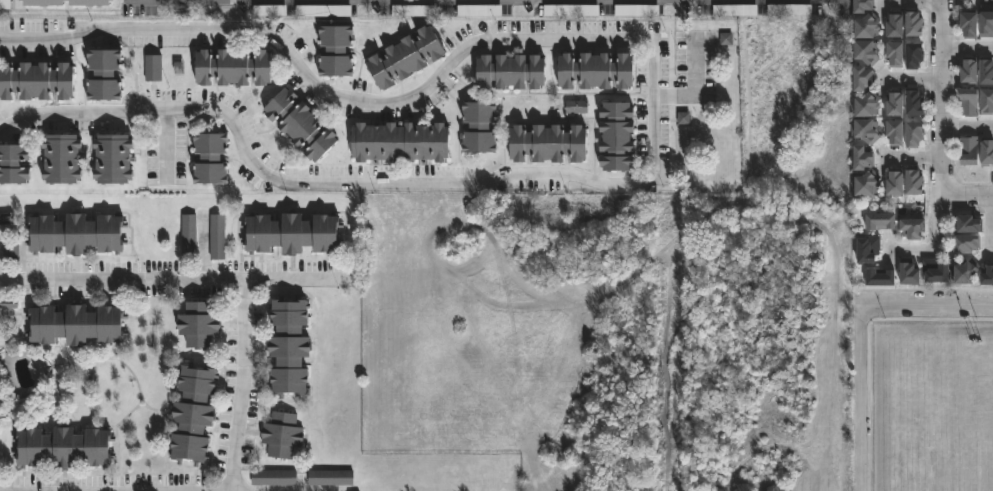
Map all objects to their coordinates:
road: (915, 0)
building: (41, 3)
building: (866, 6)
building: (917, 24)
building: (972, 24)
building: (988, 25)
building: (897, 26)
building: (869, 27)
road: (940, 39)
road: (966, 49)
building: (337, 50)
building: (869, 51)
building: (898, 54)
building: (916, 56)
building: (407, 58)
building: (234, 67)
building: (153, 68)
building: (598, 71)
building: (971, 71)
building: (513, 72)
building: (987, 72)
building: (104, 75)
road: (915, 79)
building: (37, 81)
road: (696, 86)
building: (862, 91)
building: (968, 102)
building: (917, 103)
building: (988, 103)
building: (897, 105)
road: (649, 112)
road: (966, 124)
building: (302, 125)
building: (482, 128)
building: (868, 131)
building: (898, 132)
building: (917, 134)
building: (619, 137)
road: (939, 138)
building: (398, 143)
building: (550, 144)
building: (971, 152)
building: (988, 153)
building: (212, 158)
building: (866, 158)
road: (915, 158)
building: (63, 159)
building: (114, 160)
building: (14, 164)
building: (917, 183)
building: (869, 184)
building: (898, 184)
road: (965, 197)
building: (882, 222)
building: (970, 225)
building: (915, 229)
building: (77, 234)
building: (294, 234)
building: (966, 244)
road: (946, 246)
building: (869, 250)
building: (938, 271)
building: (968, 272)
building: (911, 273)
building: (988, 276)
building: (882, 278)
road: (286, 284)
road: (218, 285)
road: (927, 304)
building: (78, 326)
building: (200, 326)
building: (291, 349)
road: (861, 398)
building: (0, 406)
building: (0, 409)
building: (194, 413)
building: (283, 435)
building: (64, 449)
building: (273, 479)
building: (330, 479)

